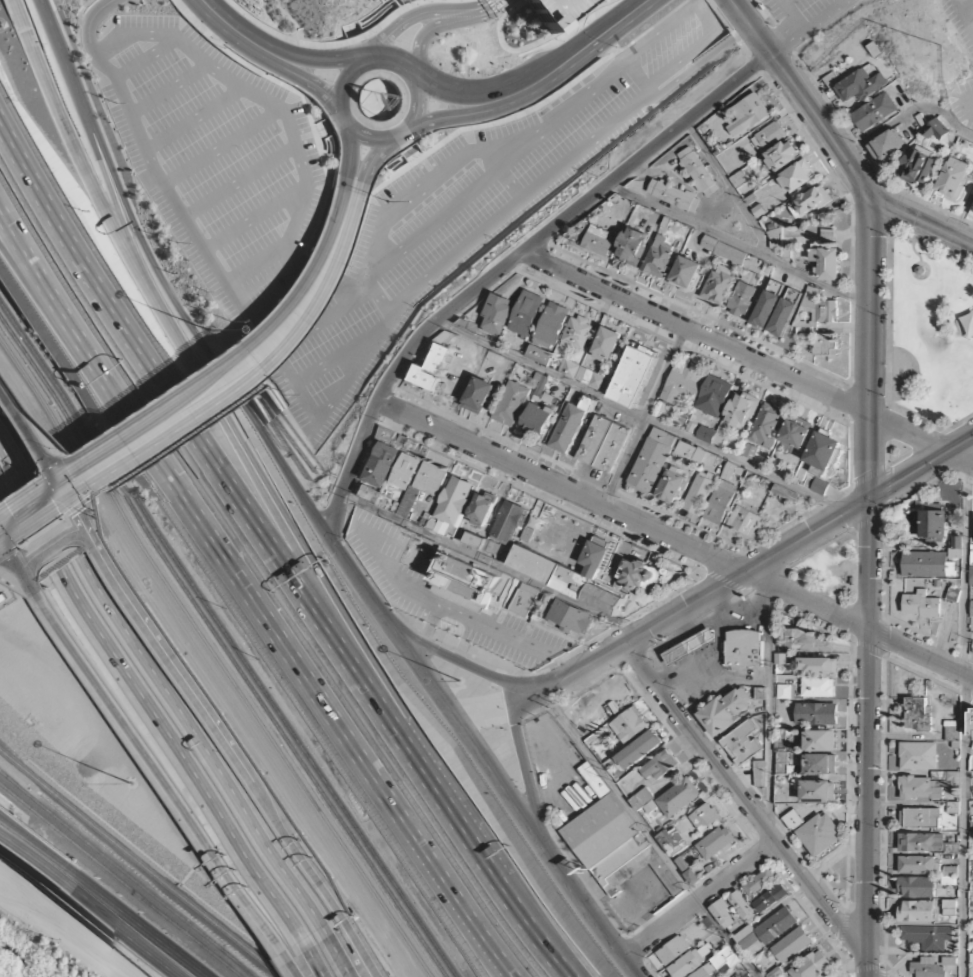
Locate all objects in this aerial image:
road: (783, 1)
road: (82, 9)
road: (496, 9)
road: (969, 9)
building: (557, 11)
parking garage: (557, 11)
road: (477, 13)
road: (718, 15)
parking lot: (803, 15)
road: (706, 16)
parking lot: (961, 20)
road: (88, 24)
road: (399, 25)
road: (809, 26)
road: (750, 28)
road: (236, 31)
road: (780, 34)
road: (355, 35)
road: (56, 41)
road: (331, 45)
road: (533, 45)
road: (418, 46)
road: (575, 54)
road: (388, 57)
road: (145, 58)
road: (326, 61)
road: (701, 65)
road: (309, 83)
building: (860, 86)
road: (340, 87)
road: (168, 90)
road: (448, 92)
road: (252, 95)
road: (378, 100)
parking lot: (962, 103)
road: (368, 105)
road: (964, 105)
building: (751, 111)
building: (874, 111)
road: (909, 113)
road: (450, 116)
road: (193, 119)
road: (84, 121)
road: (374, 121)
road: (821, 126)
road: (327, 127)
road: (321, 131)
road: (316, 133)
road: (394, 135)
road: (69, 140)
building: (887, 145)
road: (220, 147)
road: (494, 147)
road: (407, 148)
building: (784, 149)
road: (404, 151)
road: (513, 154)
road: (348, 156)
road: (414, 157)
road: (371, 159)
building: (921, 167)
building: (698, 171)
building: (796, 173)
building: (954, 178)
road: (239, 182)
road: (509, 182)
road: (730, 189)
building: (674, 195)
road: (517, 200)
road: (119, 217)
road: (253, 218)
road: (920, 222)
road: (431, 223)
parking lot: (437, 230)
road: (358, 231)
building: (599, 241)
road: (198, 243)
building: (633, 246)
road: (741, 247)
building: (723, 249)
building: (659, 257)
building: (827, 262)
road: (509, 265)
road: (160, 267)
road: (253, 267)
building: (686, 272)
road: (317, 274)
building: (718, 283)
building: (743, 293)
road: (39, 295)
road: (282, 296)
road: (378, 298)
building: (767, 304)
building: (785, 312)
road: (322, 318)
road: (189, 325)
building: (577, 331)
park: (927, 334)
building: (825, 343)
building: (607, 345)
road: (751, 356)
road: (335, 358)
building: (431, 368)
road: (353, 369)
building: (635, 374)
road: (199, 375)
building: (682, 384)
building: (479, 394)
road: (212, 399)
building: (511, 403)
building: (740, 408)
road: (870, 412)
road: (641, 416)
road: (645, 416)
building: (539, 417)
building: (767, 424)
building: (604, 444)
building: (649, 464)
road: (130, 470)
traffic signals: (56, 473)
building: (670, 483)
building: (462, 484)
traffic signals: (72, 496)
road: (268, 497)
building: (484, 508)
road: (625, 516)
railway: (139, 522)
building: (933, 525)
traffic signals: (8, 539)
road: (275, 557)
road: (491, 563)
building: (927, 563)
building: (572, 573)
building: (971, 576)
building: (465, 581)
building: (914, 583)
road: (719, 589)
road: (251, 595)
building: (522, 600)
building: (921, 603)
building: (972, 609)
building: (570, 617)
road: (396, 633)
railway: (230, 635)
building: (805, 641)
building: (691, 646)
building: (744, 648)
road: (921, 654)
railway: (215, 657)
road: (466, 665)
building: (818, 666)
road: (166, 677)
road: (198, 681)
building: (818, 686)
building: (786, 693)
road: (157, 705)
road: (770, 709)
building: (918, 713)
building: (718, 716)
road: (962, 717)
building: (971, 722)
road: (148, 739)
building: (820, 740)
building: (742, 742)
building: (918, 755)
building: (657, 766)
road: (527, 779)
building: (819, 791)
building: (679, 796)
road: (741, 796)
road: (867, 803)
building: (921, 817)
building: (814, 830)
road: (648, 835)
building: (613, 839)
building: (716, 842)
road: (35, 843)
road: (542, 848)
railway: (361, 853)
road: (30, 860)
railway: (108, 860)
railway: (136, 864)
railway: (120, 879)
building: (918, 886)
building: (772, 897)
road: (699, 902)
road: (138, 922)
building: (778, 925)
road: (120, 929)
road: (67, 932)
road: (478, 944)
building: (793, 944)
road: (348, 952)
road: (326, 957)
river: (26, 958)
railway: (232, 963)
railway: (234, 963)
road: (305, 964)
building: (812, 965)
building: (776, 972)

